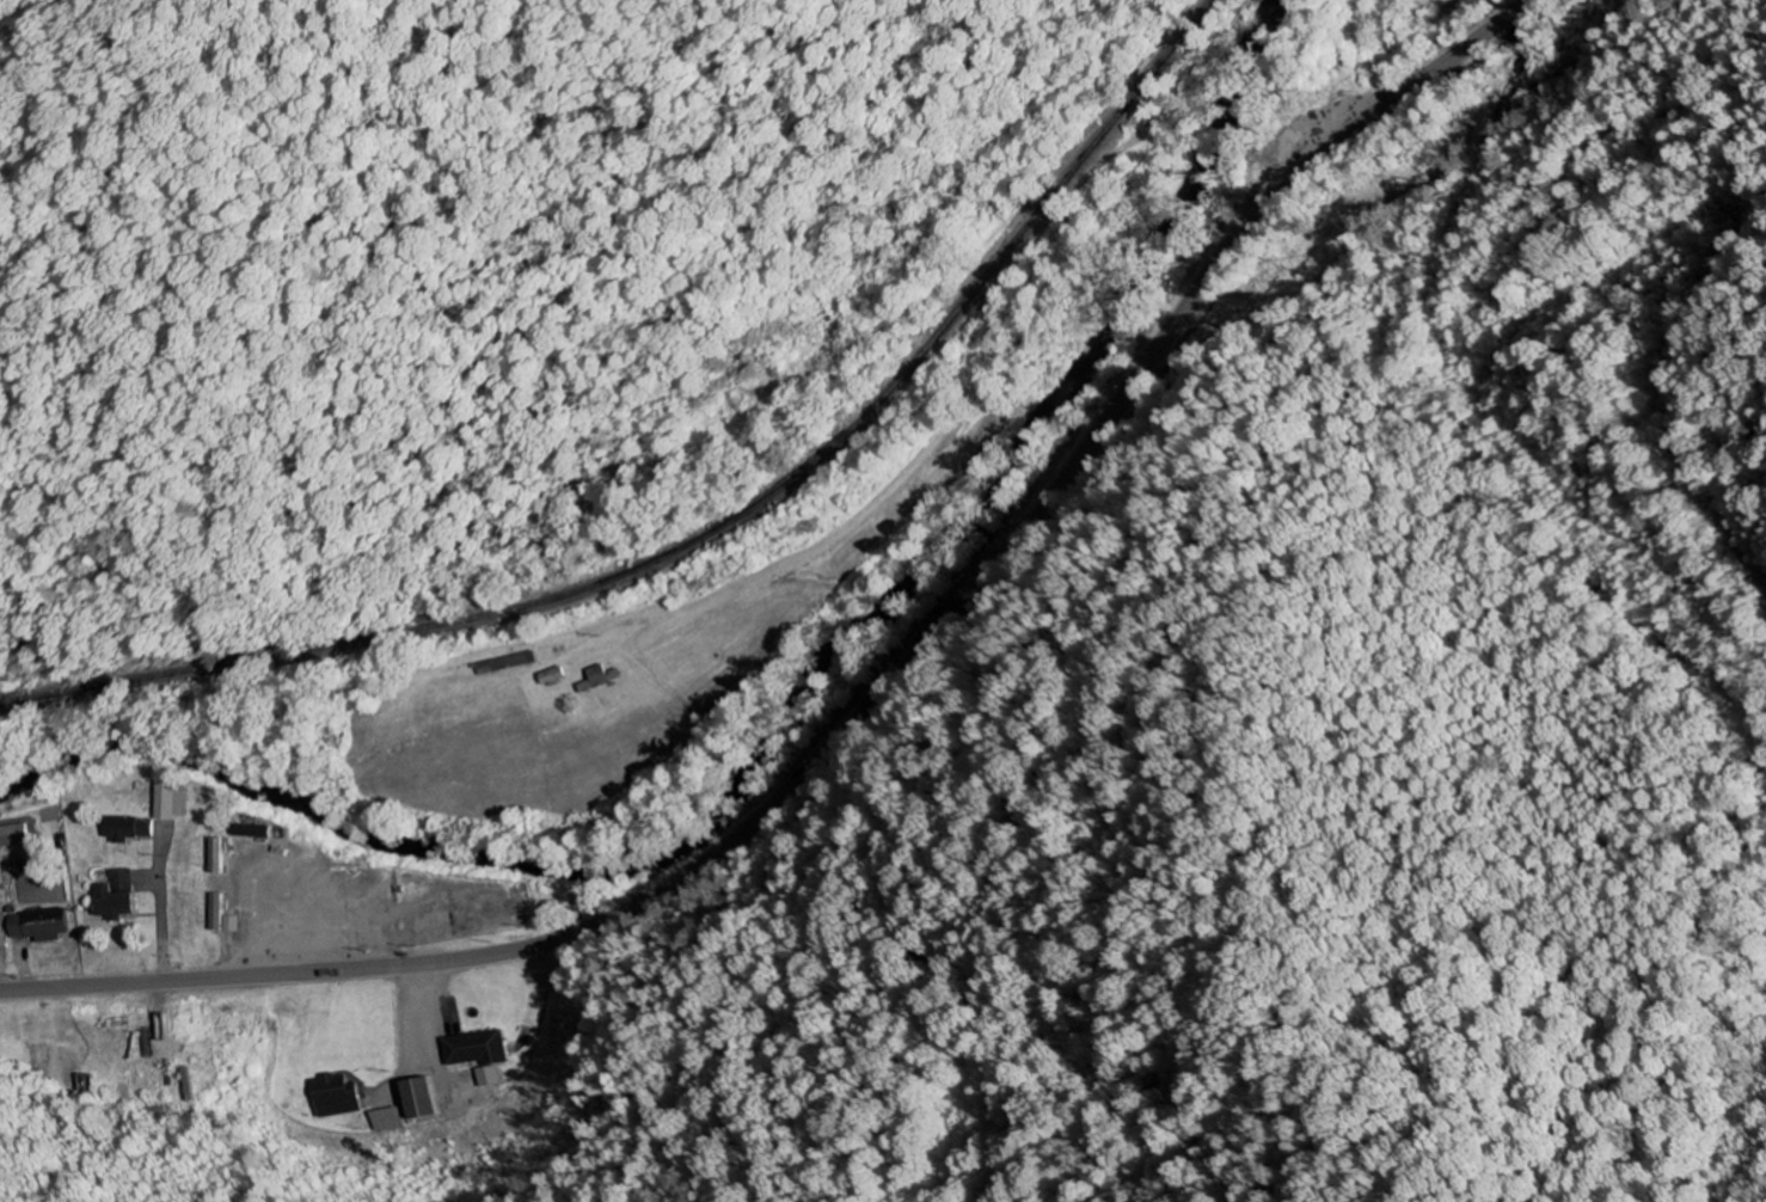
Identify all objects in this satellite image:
railway: (718, 535)
building: (599, 680)
road: (873, 695)
building: (171, 802)
building: (128, 829)
building: (252, 832)
building: (14, 836)
building: (116, 897)
building: (216, 913)
building: (231, 925)
building: (38, 926)
building: (477, 1055)
building: (336, 1097)
building: (419, 1099)
building: (385, 1121)

